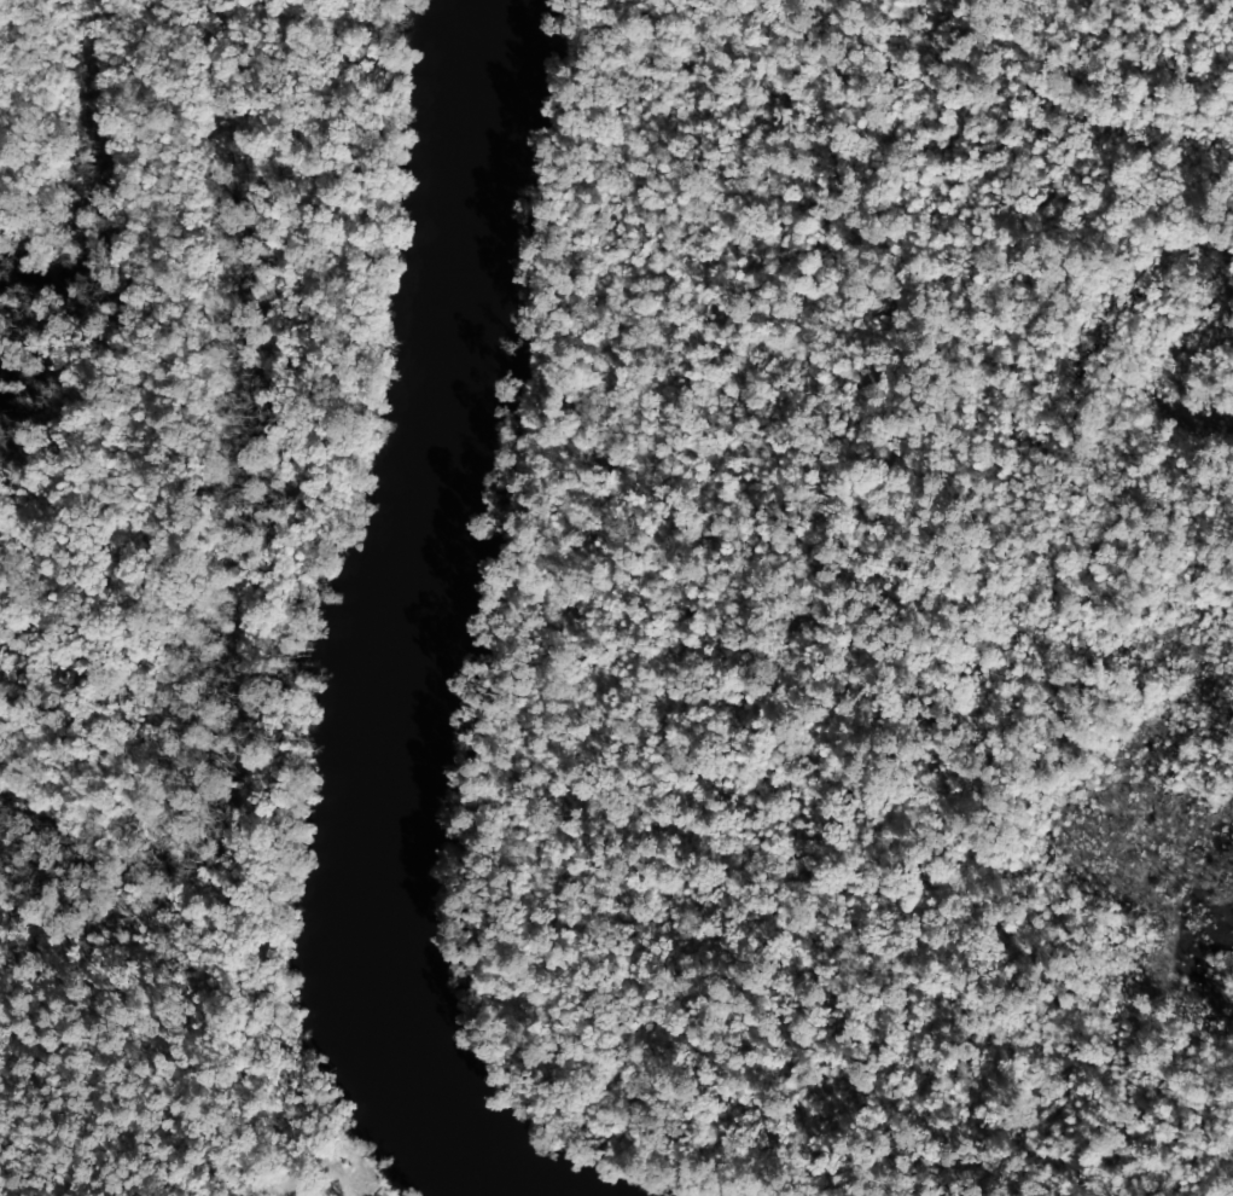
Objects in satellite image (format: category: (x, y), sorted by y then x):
river: (401, 632)

